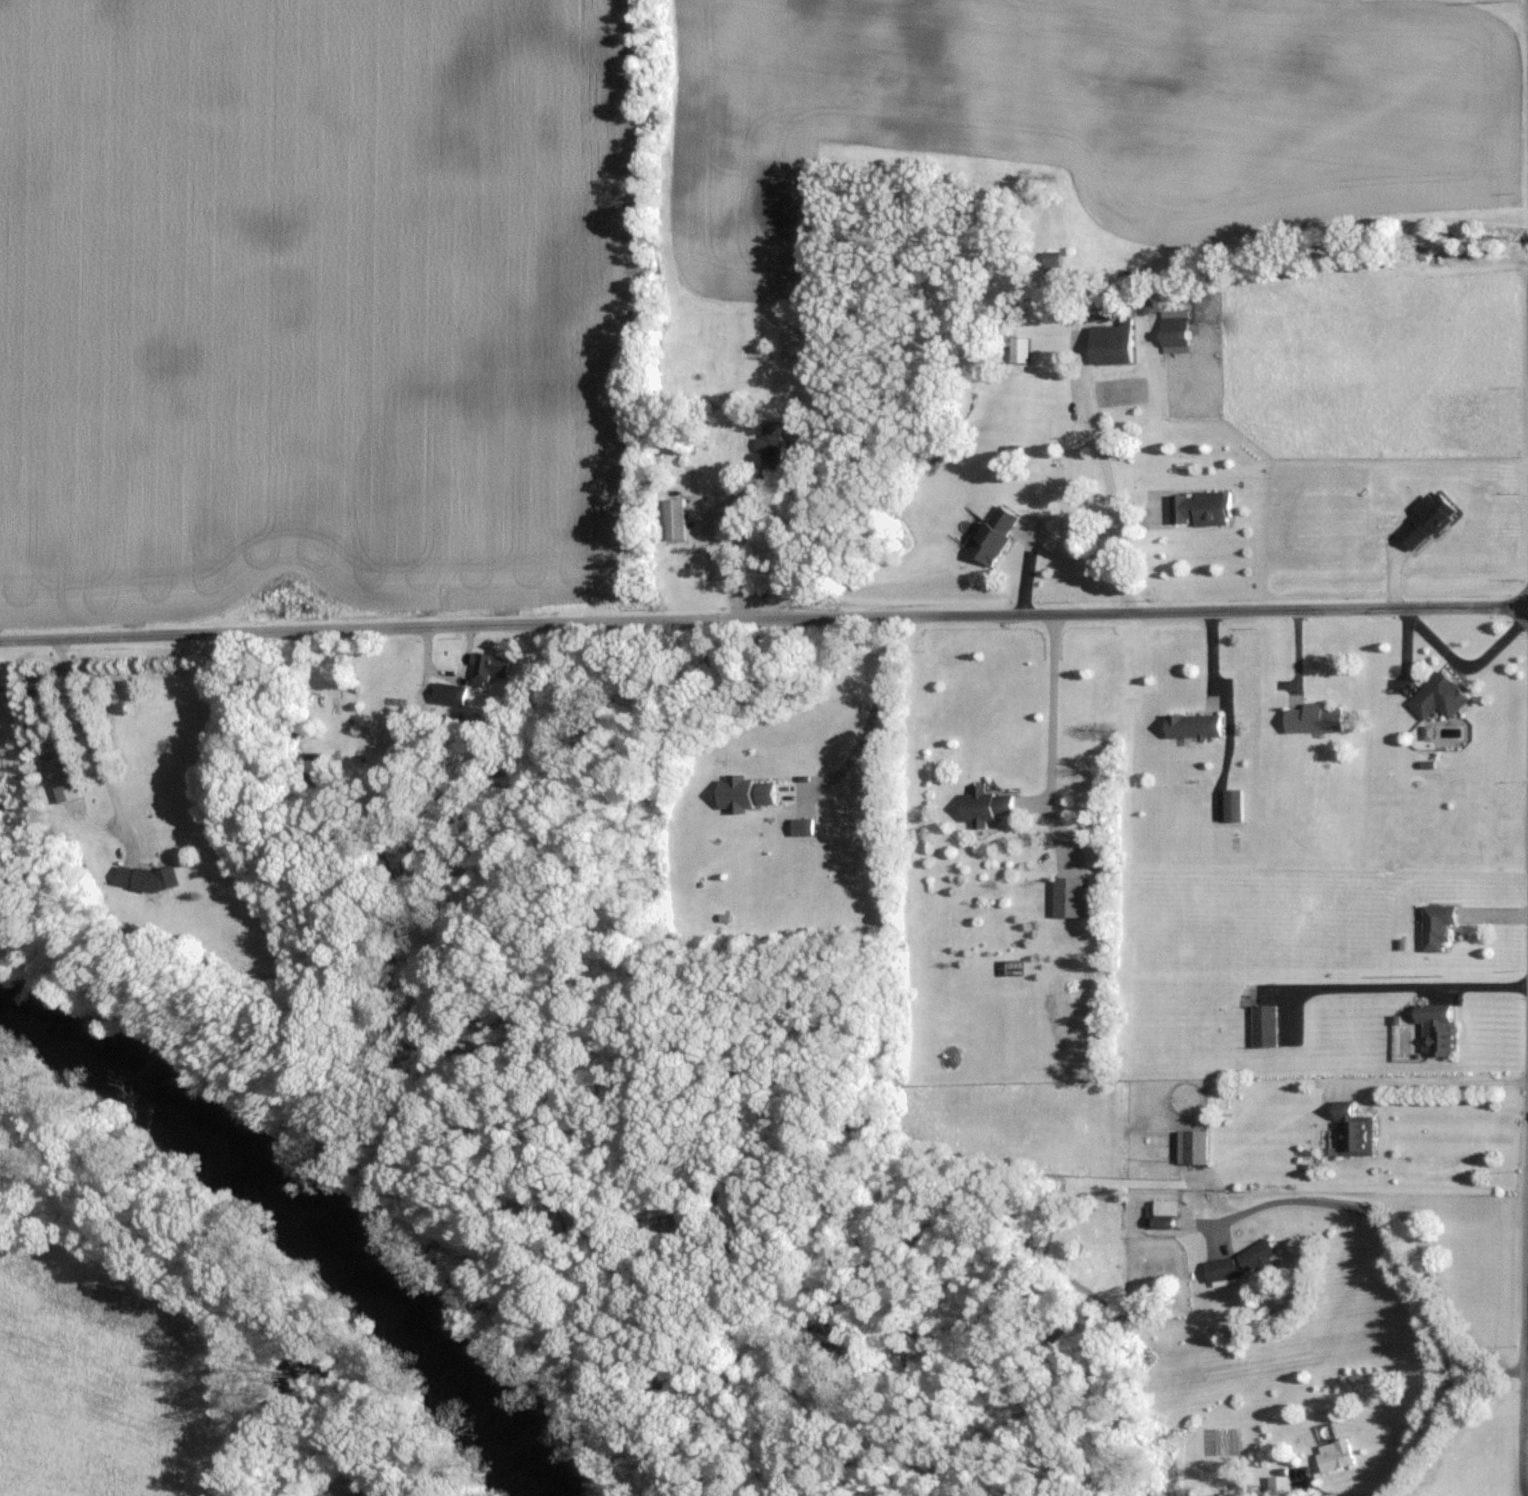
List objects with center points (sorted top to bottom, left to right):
building: (1177, 330)
building: (1115, 343)
building: (1021, 348)
building: (772, 436)
road: (1107, 493)
building: (1203, 507)
building: (677, 518)
building: (998, 532)
road: (712, 543)
road: (1128, 612)
road: (364, 630)
building: (491, 670)
building: (451, 694)
building: (1441, 695)
road: (867, 716)
building: (1317, 718)
building: (1197, 725)
road: (87, 736)
road: (1049, 741)
building: (66, 778)
building: (1235, 800)
building: (988, 805)
building: (168, 878)
building: (1070, 896)
building: (1441, 925)
road: (1391, 987)
building: (1268, 1026)
road: (1434, 1084)
building: (1357, 1130)
building: (1197, 1146)
road: (1521, 1193)
building: (1179, 1207)
river: (287, 1239)
building: (1245, 1261)
road: (1428, 1432)
building: (1338, 1454)

